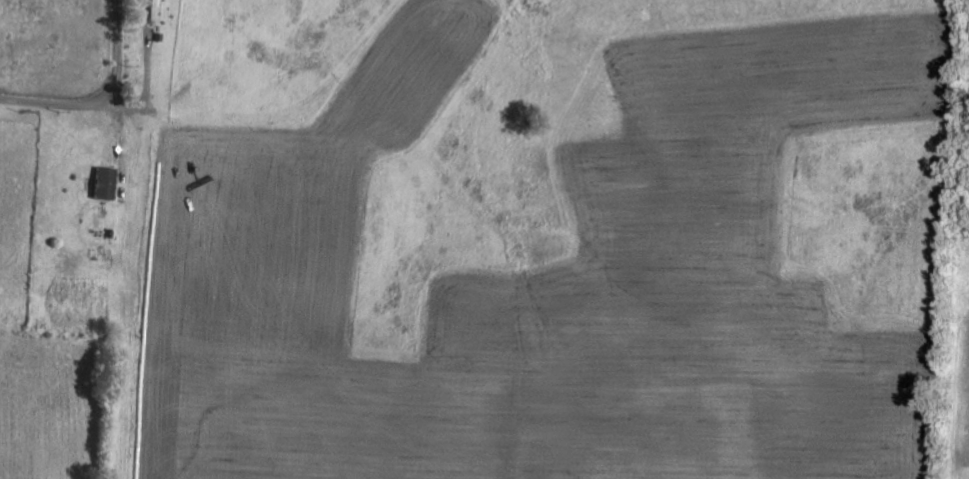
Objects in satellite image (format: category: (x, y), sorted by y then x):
road: (100, 97)
building: (103, 182)

